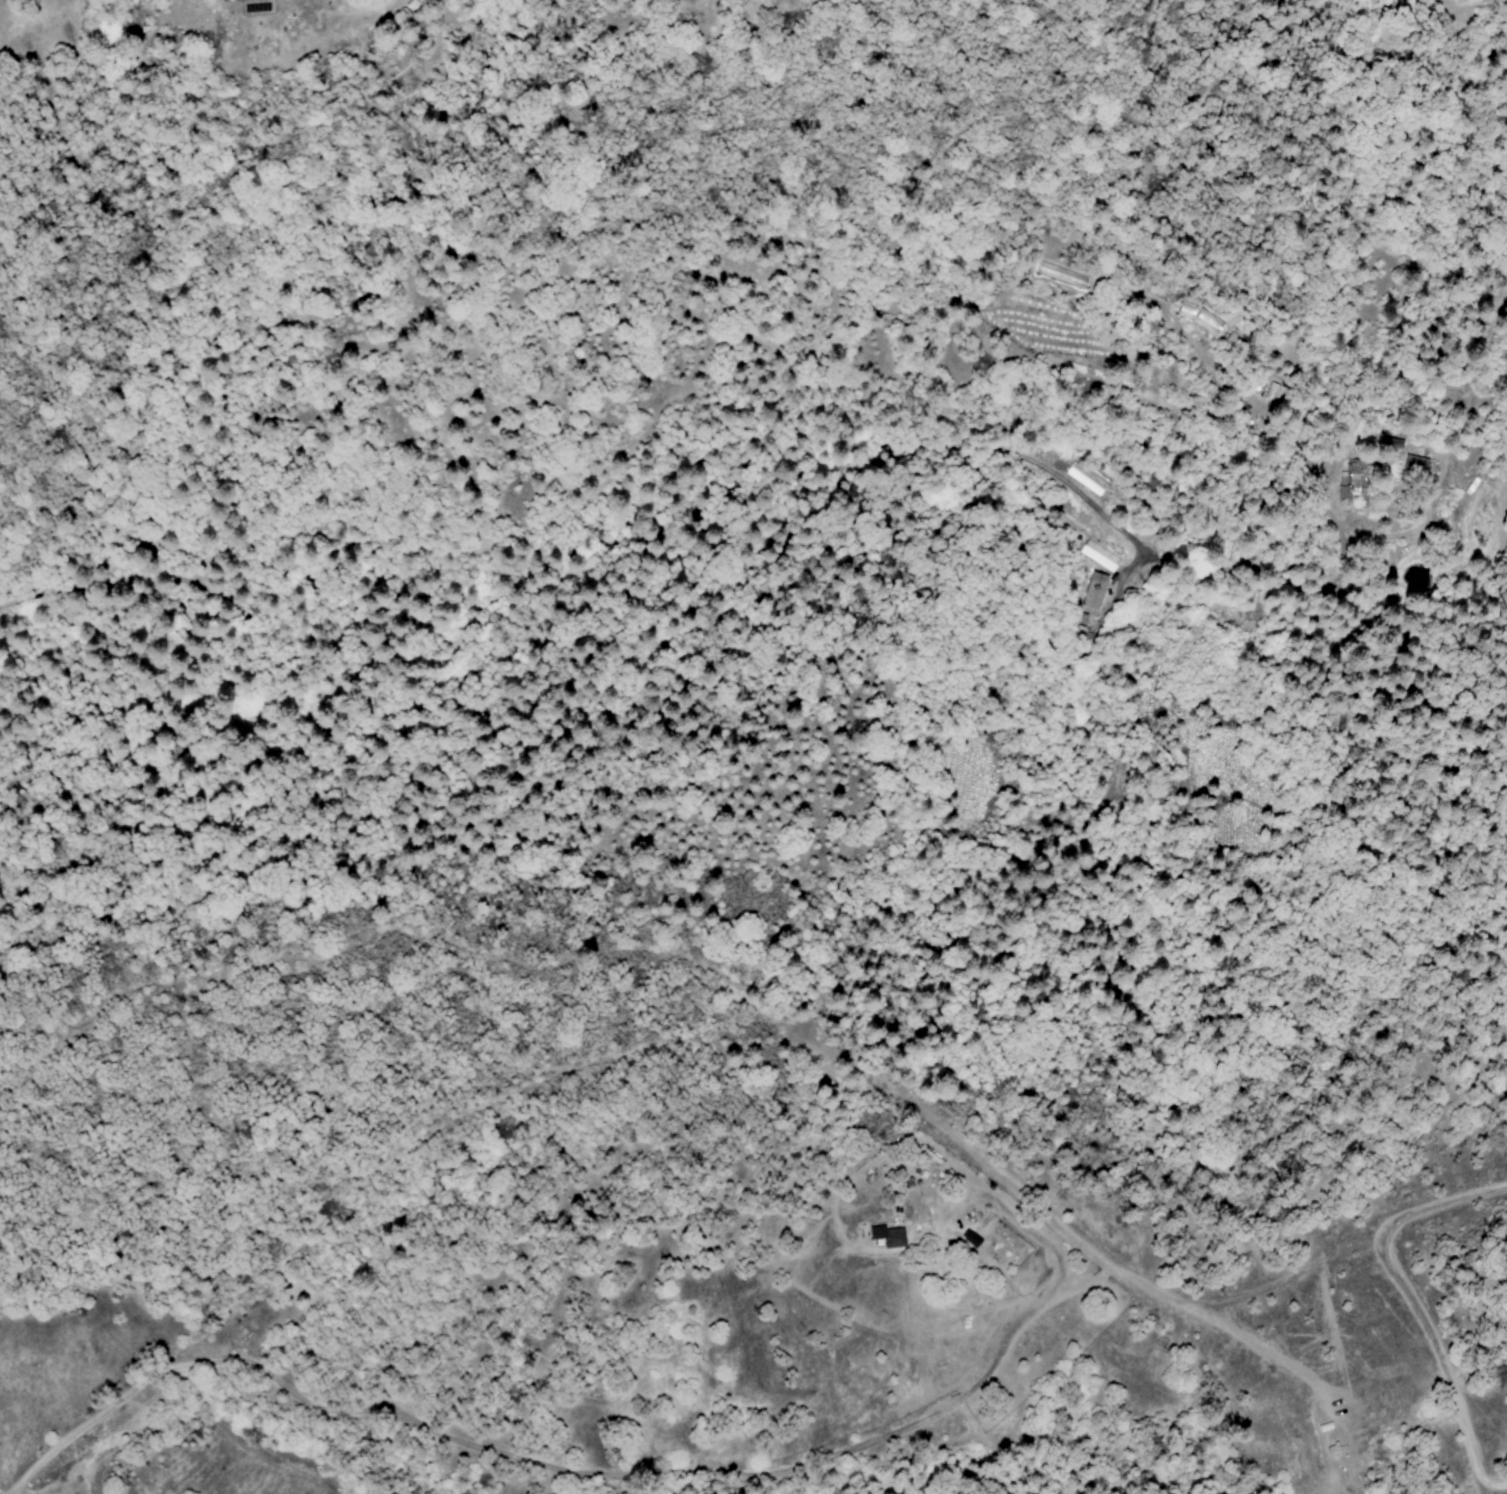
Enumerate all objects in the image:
road: (688, 400)
building: (1416, 462)
building: (1352, 478)
road: (1444, 1202)
building: (893, 1236)
road: (1442, 1365)
road: (610, 1477)

